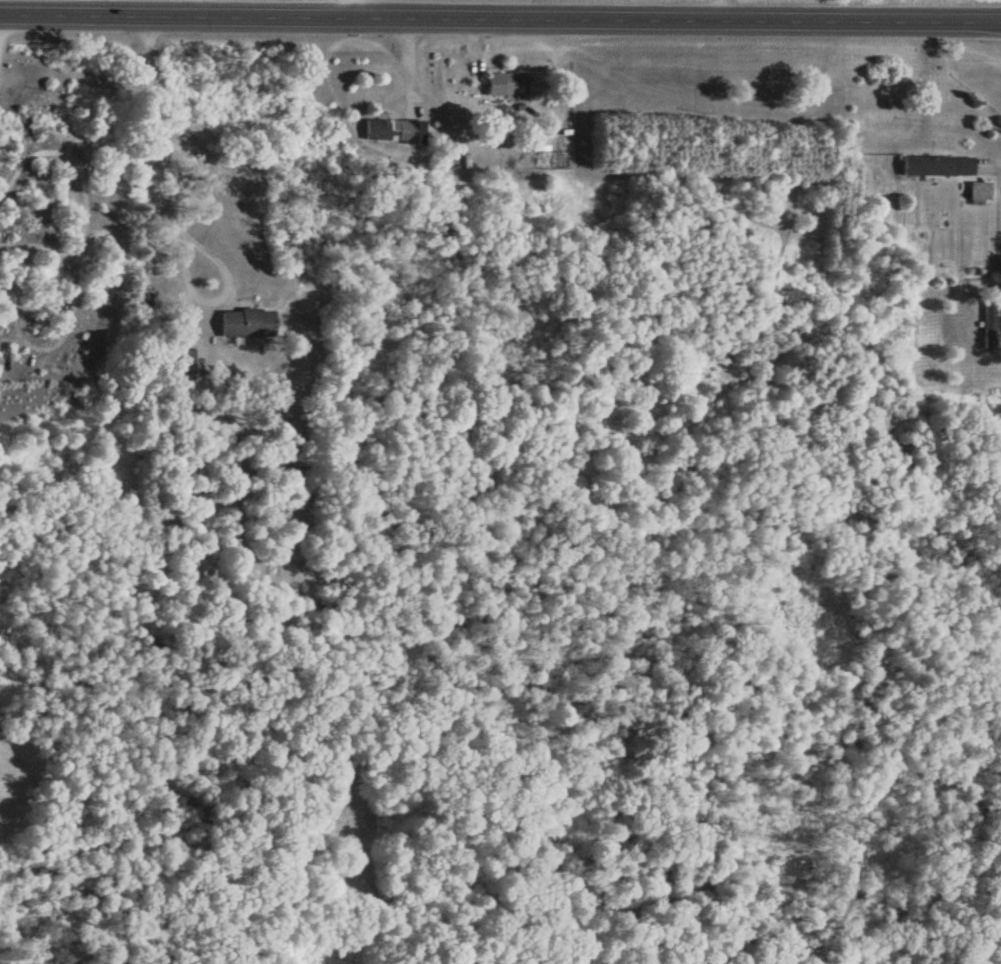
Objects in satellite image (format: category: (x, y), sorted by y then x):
road: (356, 9)
road: (500, 19)
building: (505, 83)
building: (394, 131)
building: (937, 165)
building: (979, 191)
building: (245, 323)
building: (988, 326)

